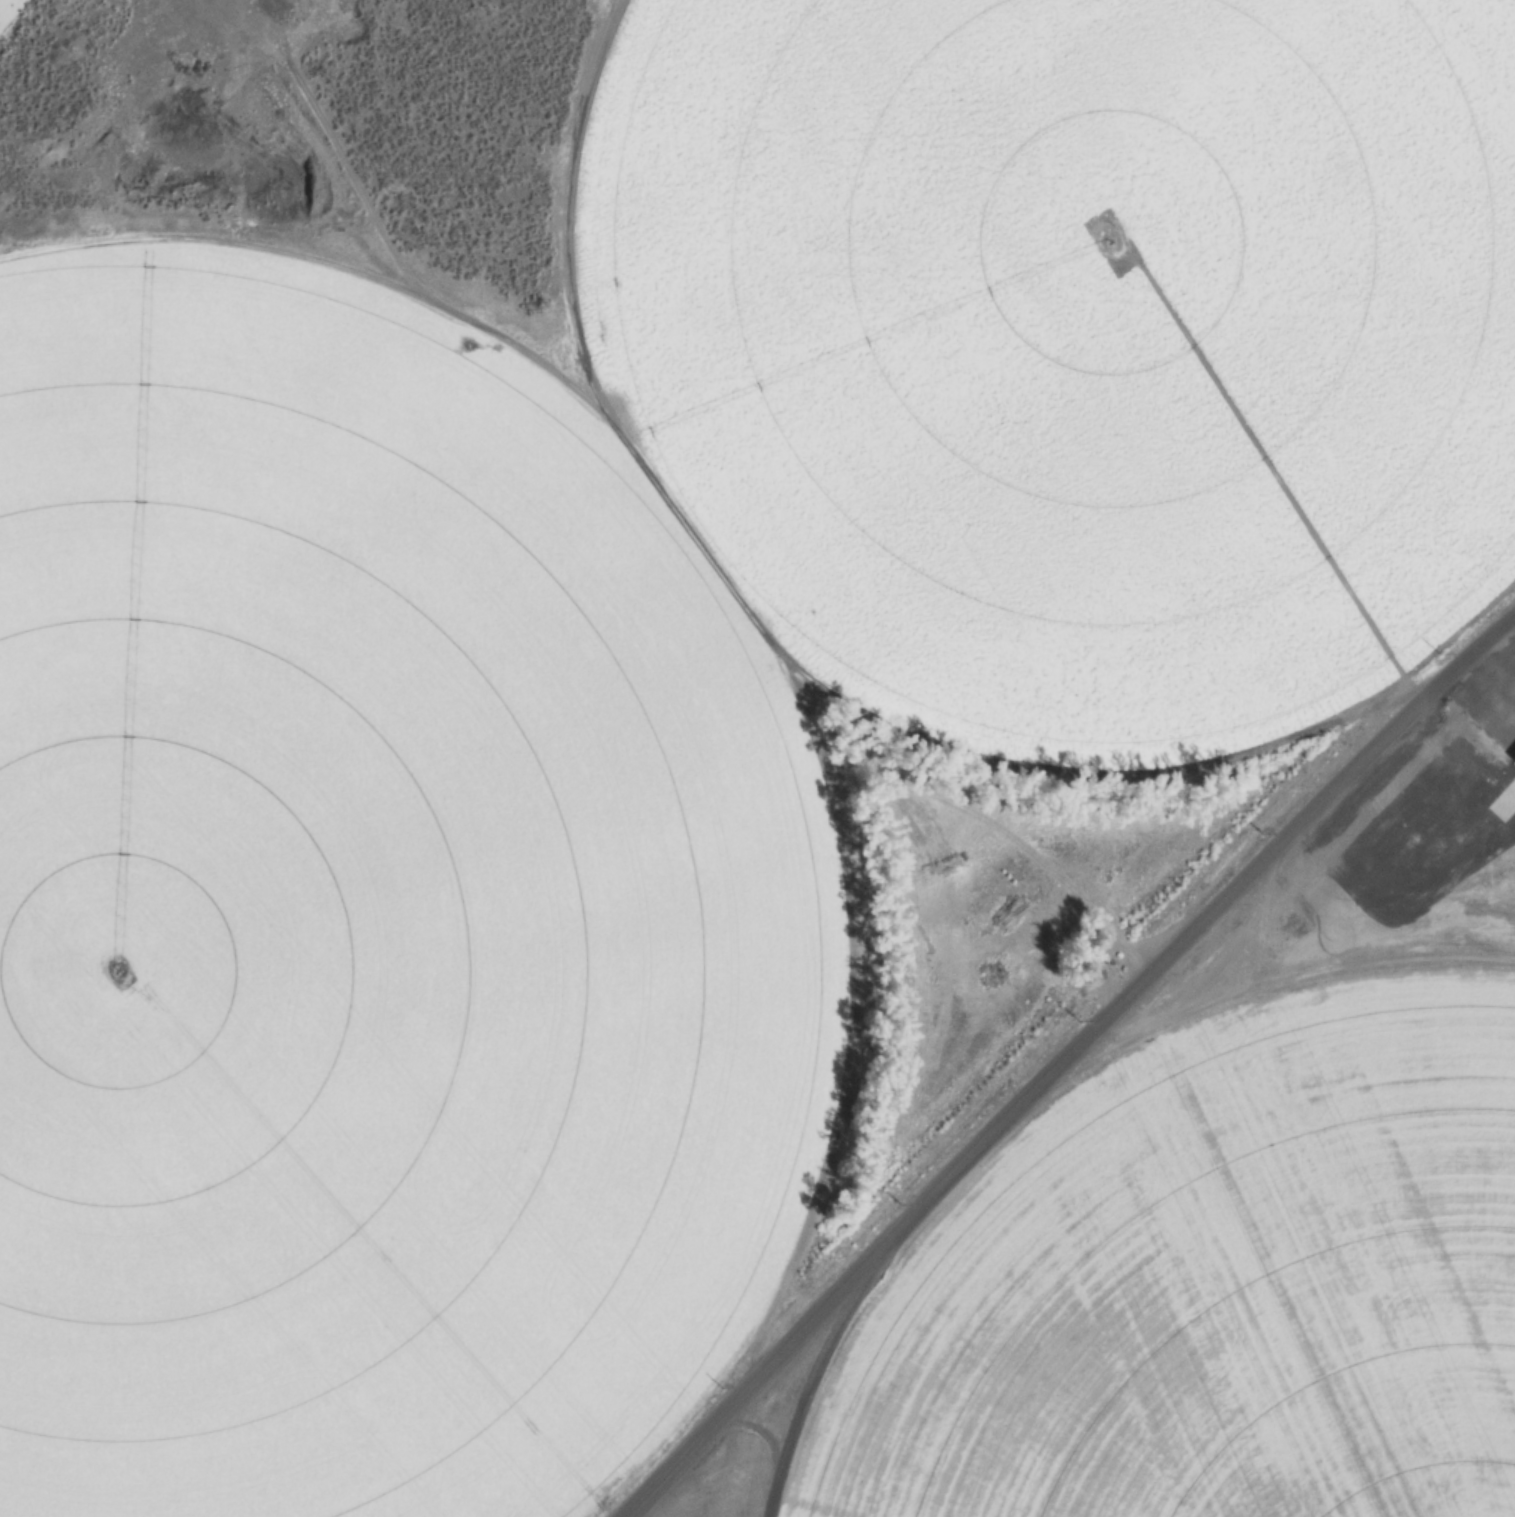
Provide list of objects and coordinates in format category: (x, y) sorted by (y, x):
road: (1066, 1065)

